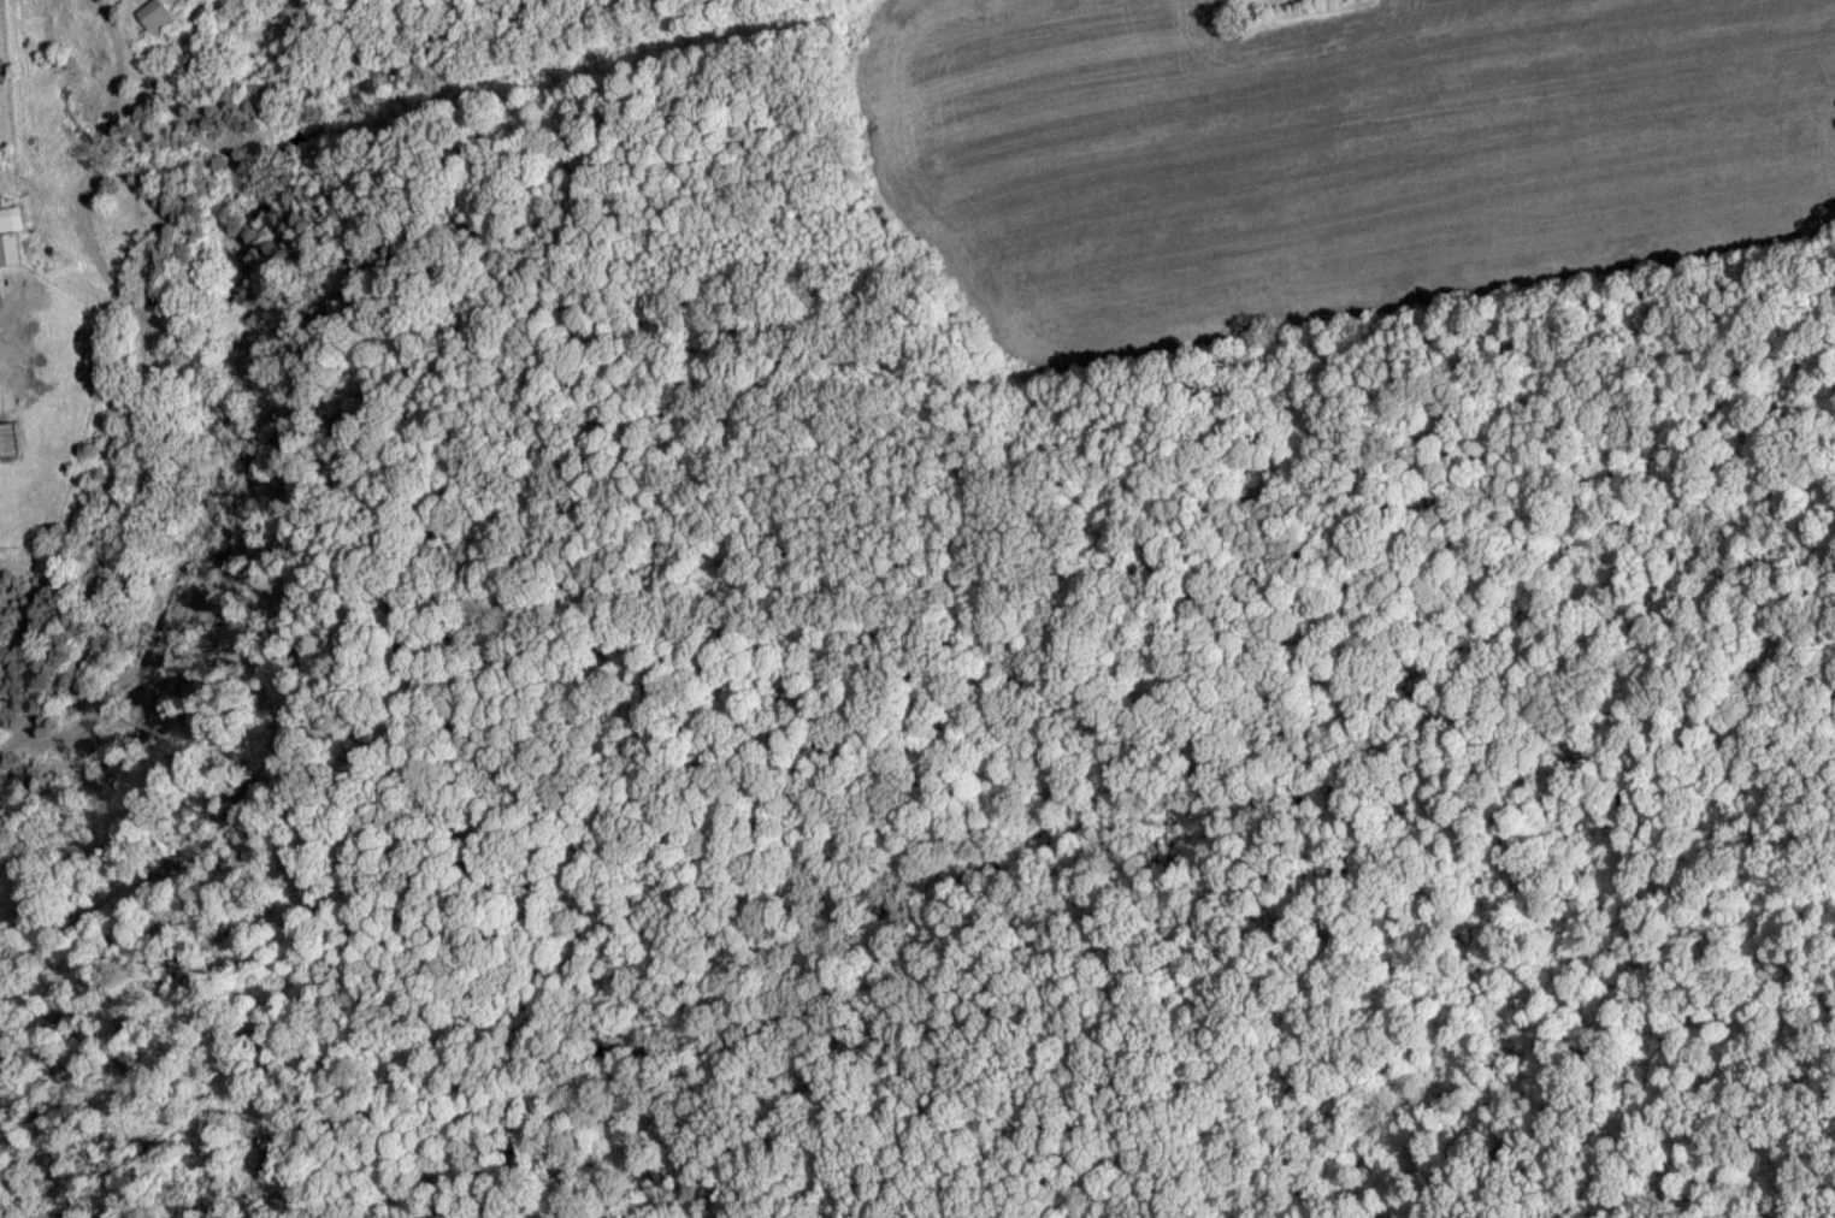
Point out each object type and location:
building: (152, 18)
building: (7, 240)
building: (6, 441)

